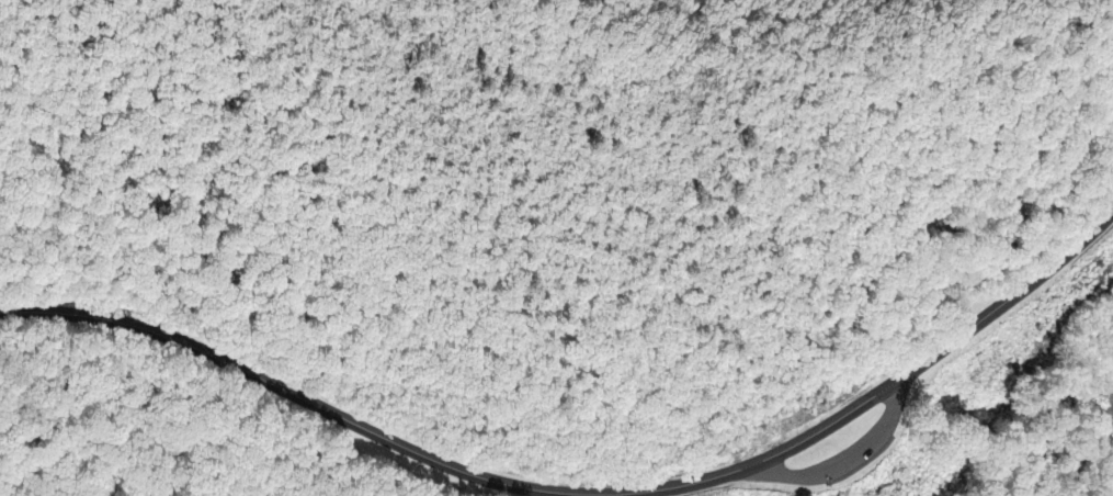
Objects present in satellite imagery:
road: (622, 384)
road: (850, 460)
road: (581, 492)

